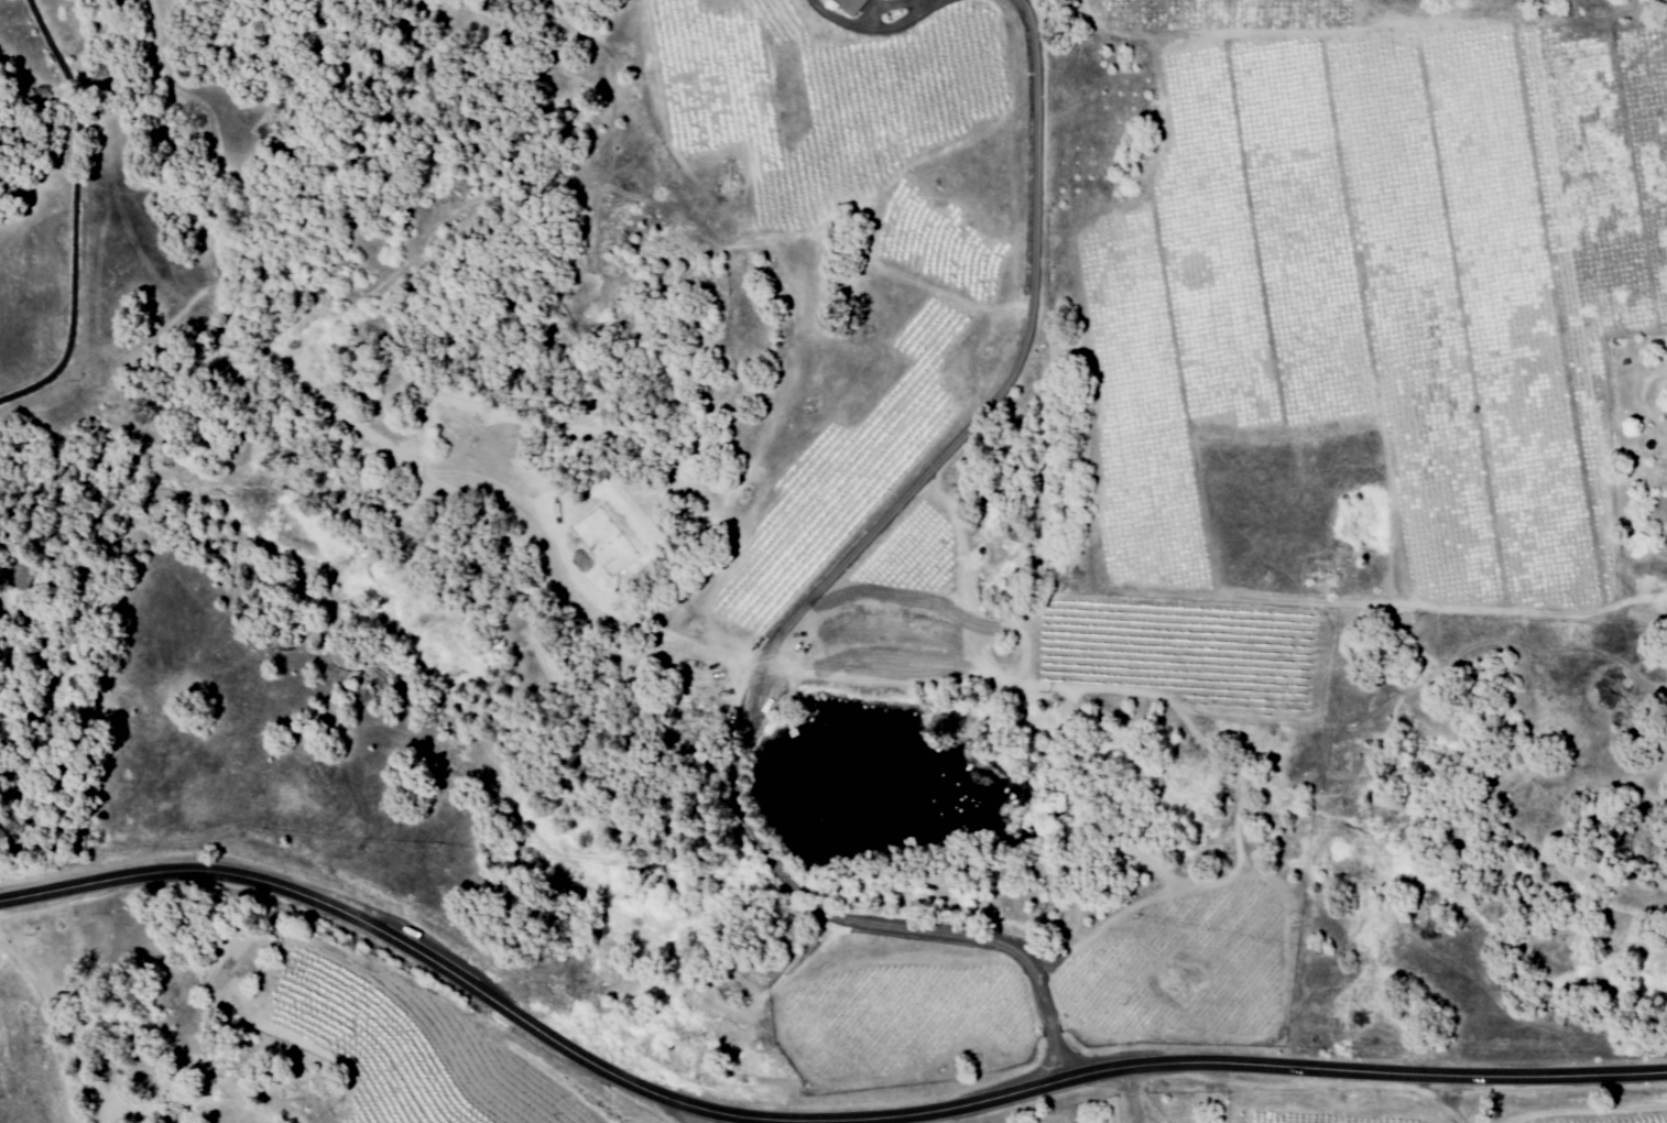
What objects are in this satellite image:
building: (861, 4)
road: (874, 22)
road: (75, 214)
road: (797, 601)
road: (55, 1023)
road: (1442, 1098)
road: (690, 1116)
road: (803, 1120)

